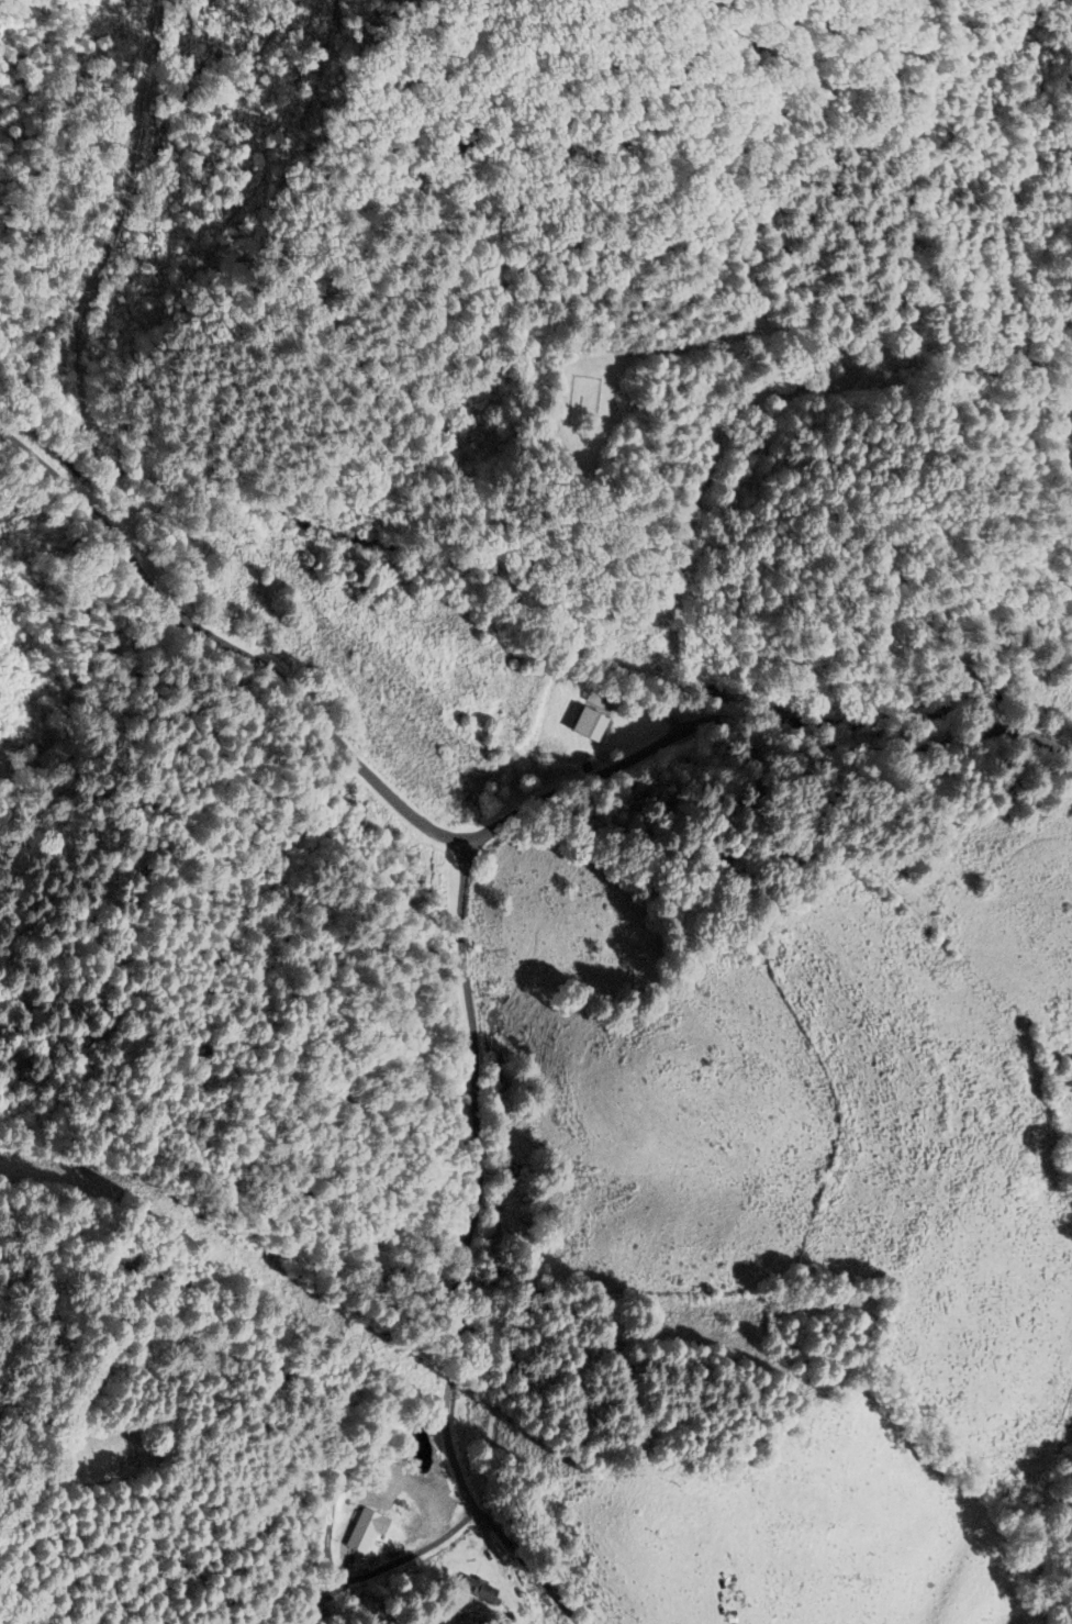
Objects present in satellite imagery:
building: (594, 697)
building: (585, 725)
road: (476, 837)
road: (465, 1255)
road: (323, 1401)
building: (365, 1532)
building: (479, 1590)

